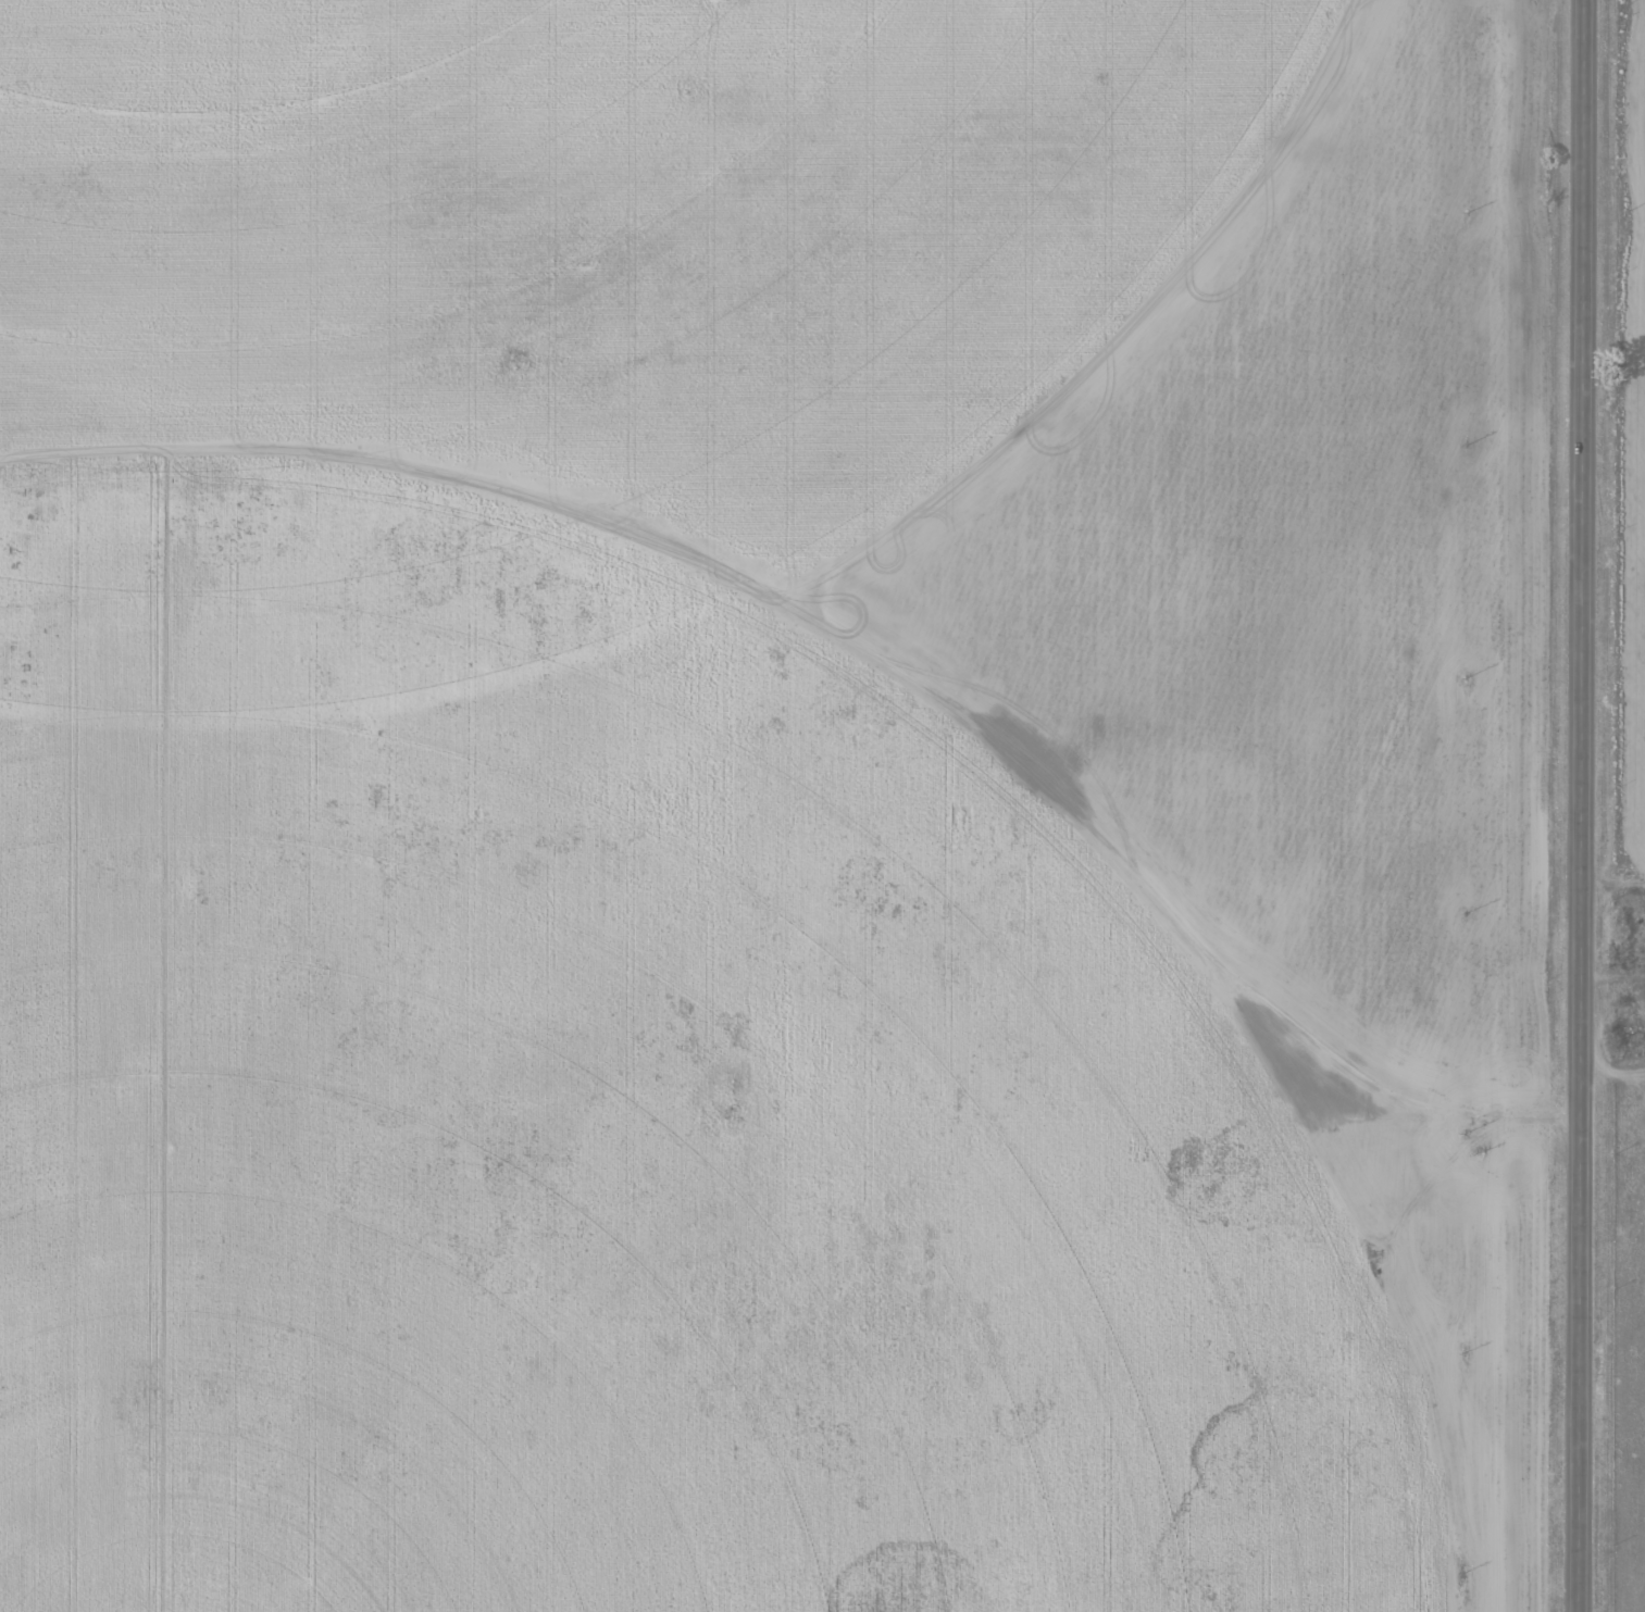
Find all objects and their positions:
road: (1585, 805)
road: (1615, 899)

